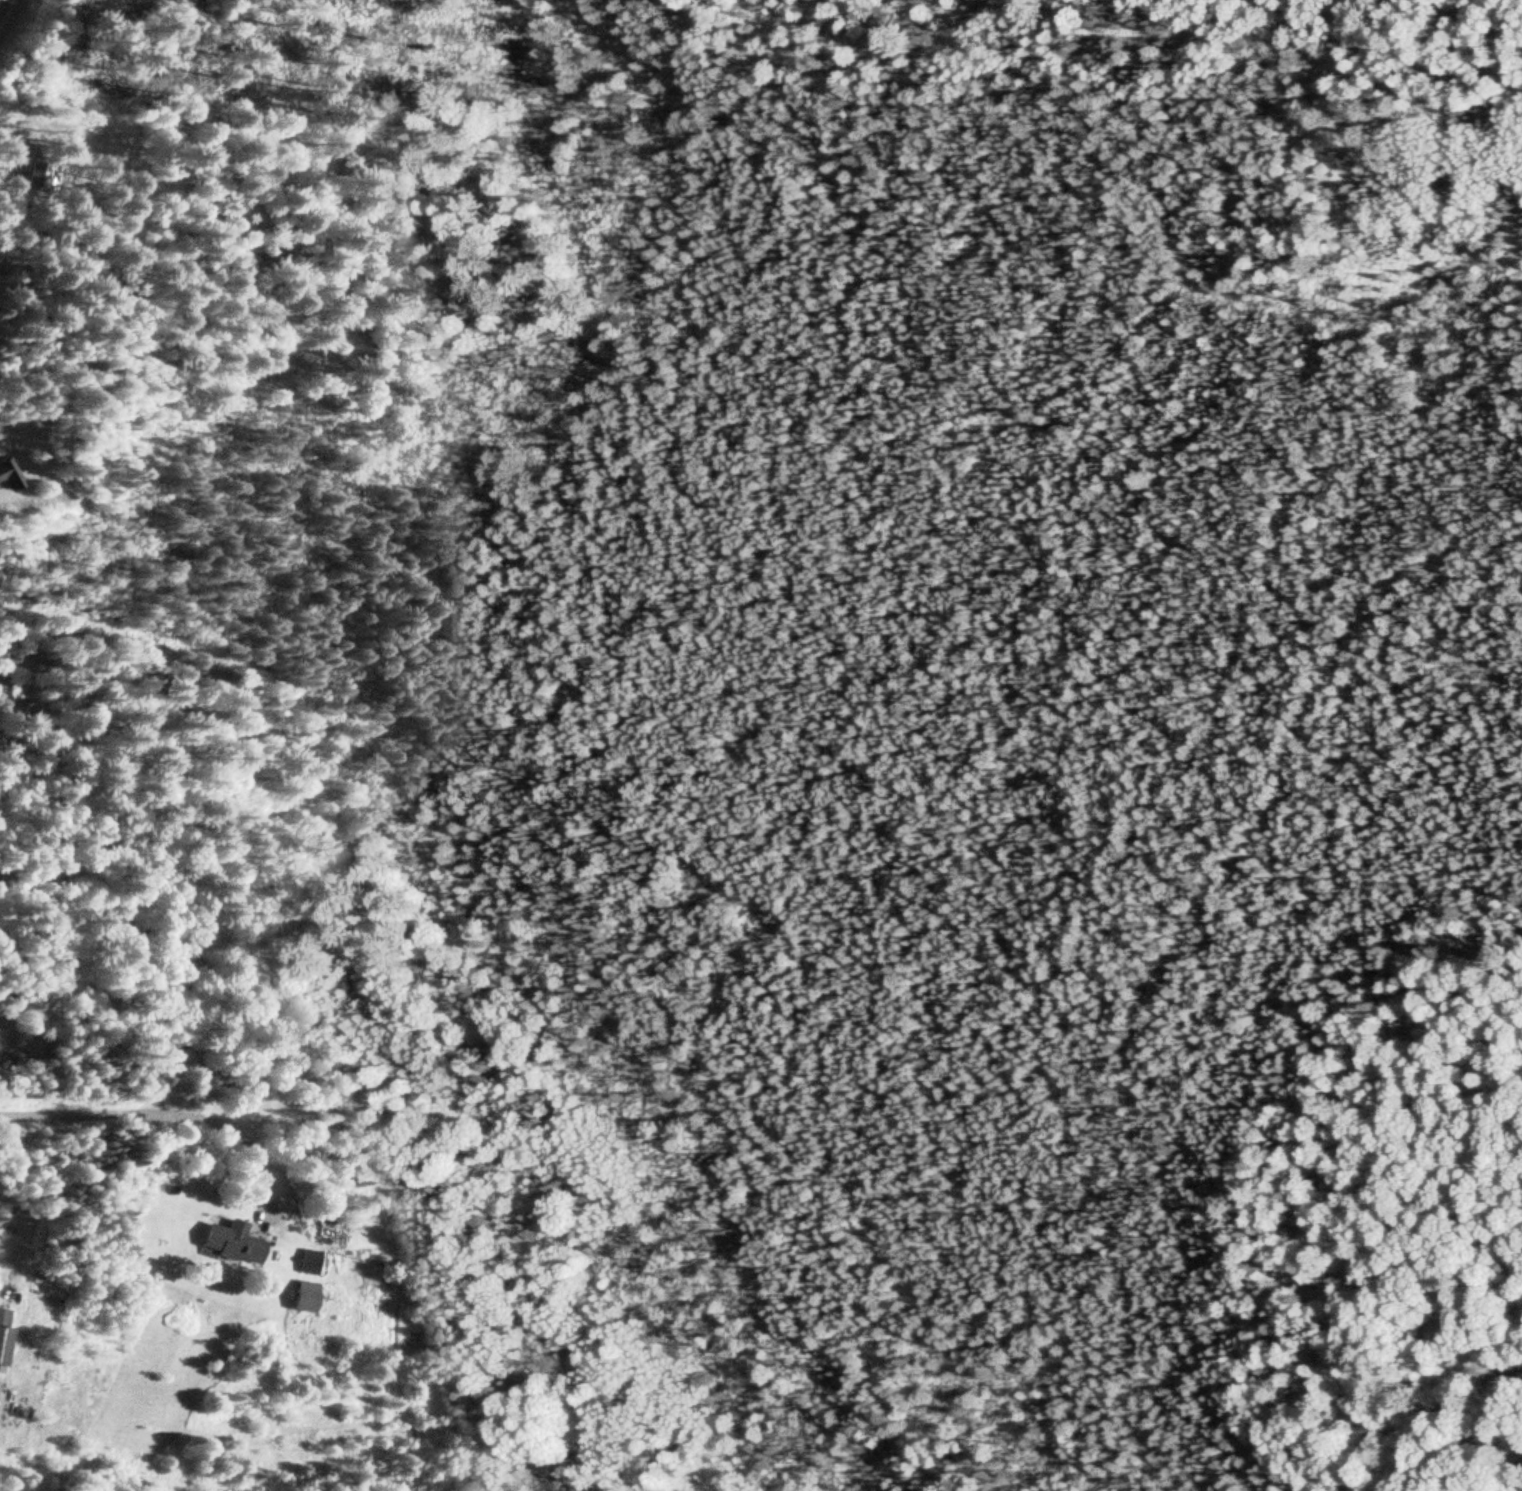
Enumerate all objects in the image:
building: (183, 4)
road: (7, 11)
building: (37, 176)
building: (9, 475)
road: (181, 1113)
road: (38, 1204)
building: (327, 1229)
building: (229, 1241)
building: (306, 1261)
building: (302, 1296)
building: (2, 1332)

